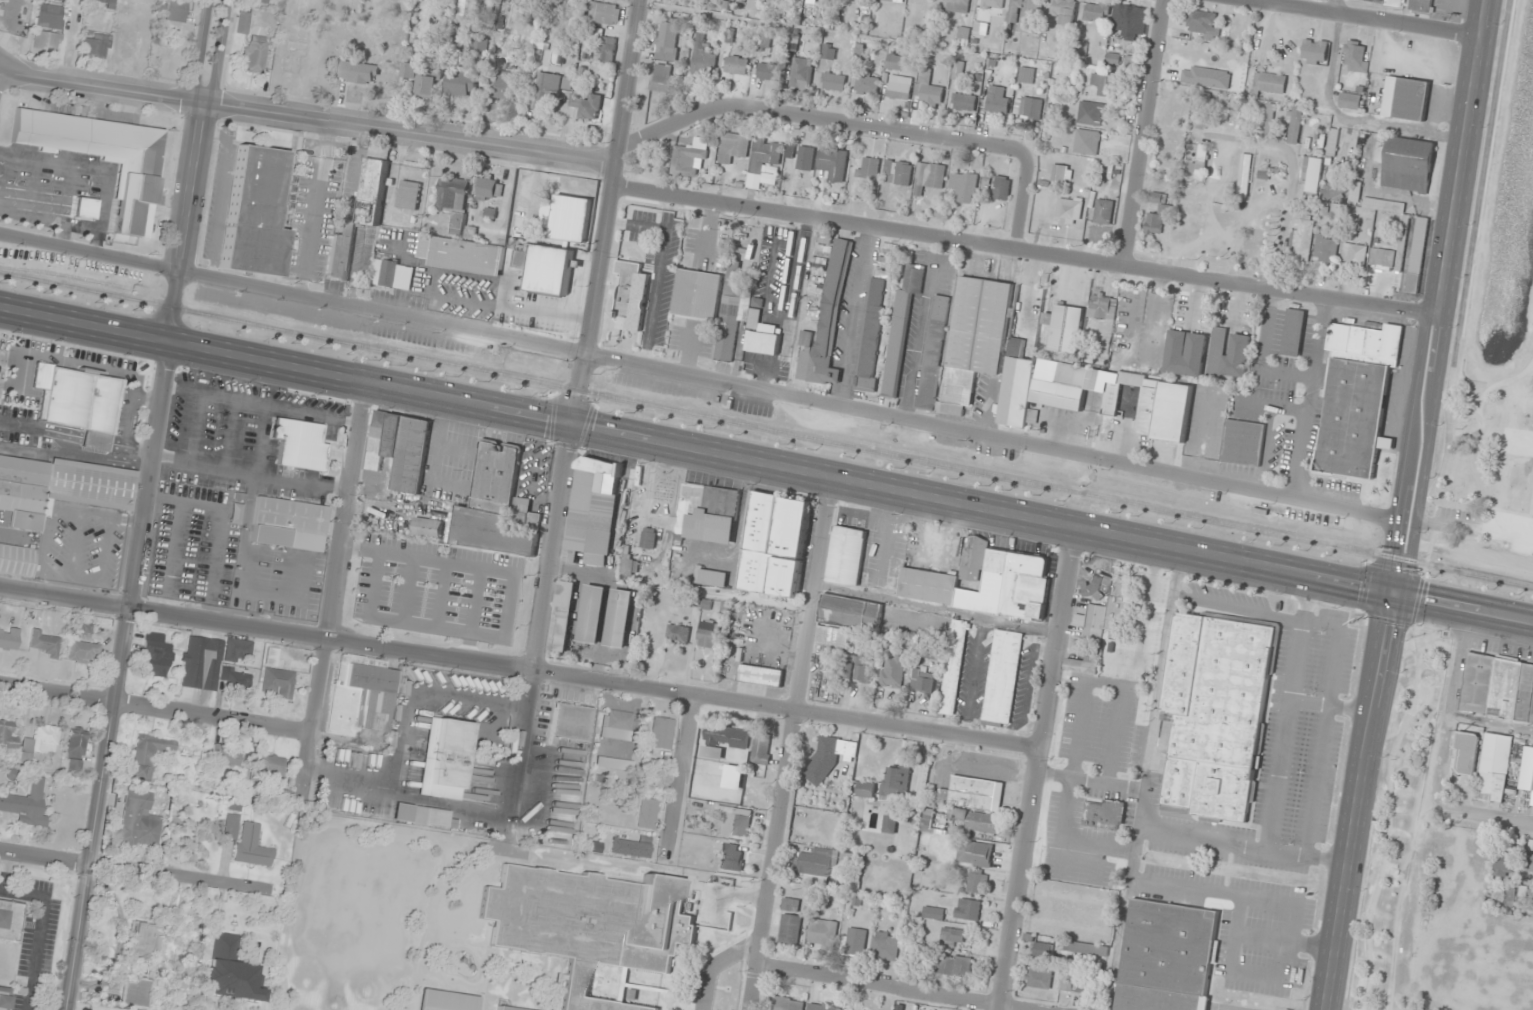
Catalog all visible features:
building: (5, 0)
building: (260, 1)
building: (1385, 2)
building: (104, 3)
building: (990, 4)
building: (956, 6)
building: (1421, 6)
road: (1337, 7)
building: (177, 10)
building: (1064, 11)
building: (1096, 12)
building: (605, 14)
building: (49, 15)
building: (1025, 15)
road: (1365, 18)
building: (1129, 21)
building: (243, 22)
building: (1202, 23)
building: (667, 39)
building: (46, 40)
building: (763, 41)
building: (129, 43)
building: (97, 44)
building: (480, 45)
building: (604, 50)
building: (828, 51)
building: (1314, 52)
building: (256, 53)
building: (1355, 56)
building: (703, 57)
building: (896, 63)
building: (736, 65)
building: (958, 68)
building: (768, 71)
building: (358, 73)
building: (801, 73)
building: (1026, 75)
building: (421, 79)
building: (662, 81)
building: (834, 82)
building: (461, 83)
building: (1268, 83)
building: (506, 85)
building: (866, 85)
building: (1105, 85)
building: (549, 88)
building: (899, 88)
building: (928, 90)
building: (1405, 99)
building: (997, 100)
building: (1349, 101)
building: (964, 102)
building: (585, 107)
building: (1028, 107)
building: (1202, 112)
building: (1091, 114)
road: (309, 115)
building: (1269, 119)
road: (817, 120)
building: (1295, 125)
road: (1143, 133)
building: (1087, 142)
building: (1332, 142)
building: (732, 148)
building: (101, 154)
building: (766, 155)
building: (805, 158)
building: (688, 161)
building: (832, 164)
building: (1165, 164)
building: (1405, 164)
building: (1199, 165)
road: (193, 169)
building: (867, 169)
building: (898, 173)
building: (1270, 173)
building: (1060, 174)
building: (1243, 175)
building: (1311, 175)
building: (929, 177)
building: (769, 179)
road: (1480, 183)
building: (962, 187)
building: (1001, 188)
building: (489, 189)
building: (1335, 190)
building: (372, 191)
building: (1354, 192)
building: (453, 194)
building: (408, 195)
road: (1024, 199)
building: (1383, 206)
building: (255, 211)
building: (1068, 211)
road: (609, 212)
building: (1103, 212)
building: (1156, 217)
building: (458, 221)
building: (1300, 241)
road: (1025, 249)
building: (1325, 249)
building: (341, 252)
building: (461, 255)
building: (1353, 255)
building: (1417, 255)
building: (1385, 267)
building: (545, 268)
building: (391, 274)
railway: (67, 275)
building: (697, 295)
road: (1440, 296)
building: (630, 298)
building: (1102, 307)
building: (728, 317)
building: (825, 323)
building: (900, 324)
building: (1065, 329)
building: (1292, 333)
building: (869, 334)
park: (1494, 335)
building: (1366, 341)
building: (962, 343)
building: (1185, 354)
building: (1228, 354)
building: (1020, 356)
building: (3, 362)
road: (1529, 365)
road: (1529, 370)
road: (704, 376)
building: (1060, 385)
road: (1493, 385)
building: (82, 404)
building: (1162, 408)
road: (1453, 408)
building: (1110, 411)
building: (1353, 419)
street lamp: (1465, 422)
traffic signals: (571, 424)
railway: (766, 427)
building: (1242, 443)
building: (299, 444)
building: (399, 449)
road: (766, 465)
building: (58, 488)
road: (1437, 499)
building: (493, 505)
road: (1453, 505)
building: (592, 511)
road: (1436, 518)
building: (702, 520)
parking lot: (1457, 521)
road: (1441, 523)
building: (288, 524)
building: (648, 541)
building: (774, 545)
road: (1430, 552)
building: (845, 556)
building: (17, 559)
building: (712, 579)
building: (982, 582)
building: (1099, 587)
road: (337, 590)
traffic signals: (1395, 594)
building: (1150, 597)
road: (1415, 598)
building: (850, 612)
building: (592, 614)
building: (562, 616)
building: (619, 618)
building: (1092, 621)
road: (541, 626)
building: (85, 633)
building: (677, 634)
building: (708, 634)
building: (832, 638)
building: (8, 639)
building: (43, 643)
building: (930, 652)
building: (83, 653)
building: (155, 655)
building: (1080, 666)
building: (953, 667)
building: (857, 670)
building: (891, 672)
road: (573, 674)
road: (123, 675)
building: (760, 676)
building: (276, 678)
building: (1001, 678)
building: (922, 681)
building: (1498, 689)
building: (360, 695)
road: (1434, 700)
road: (158, 707)
building: (1215, 716)
building: (571, 722)
building: (617, 725)
building: (662, 733)
building: (7, 734)
building: (726, 738)
building: (41, 740)
building: (76, 742)
road: (791, 744)
building: (761, 749)
building: (148, 755)
building: (225, 756)
building: (829, 757)
building: (443, 758)
building: (72, 764)
building: (614, 764)
building: (1464, 764)
road: (687, 767)
building: (267, 768)
building: (1494, 768)
road: (1040, 770)
building: (895, 783)
building: (865, 790)
road: (1362, 802)
building: (26, 805)
building: (965, 806)
building: (647, 814)
building: (1103, 815)
building: (422, 816)
road: (1388, 816)
road: (1494, 818)
building: (138, 821)
building: (736, 823)
building: (890, 823)
building: (230, 826)
building: (252, 846)
building: (630, 847)
building: (975, 854)
road: (46, 856)
building: (732, 857)
building: (815, 863)
building: (1504, 863)
building: (1530, 864)
building: (975, 883)
building: (968, 910)
building: (933, 914)
building: (10, 920)
building: (589, 924)
building: (789, 929)
building: (822, 934)
building: (953, 936)
building: (142, 941)
building: (855, 942)
building: (885, 947)
building: (1072, 955)
building: (1166, 957)
road: (715, 963)
building: (954, 967)
building: (1039, 978)
building: (1080, 985)
road: (893, 987)
building: (135, 993)
building: (4, 998)
building: (446, 1001)
building: (786, 1004)
building: (821, 1007)
building: (508, 1008)
building: (851, 1009)

